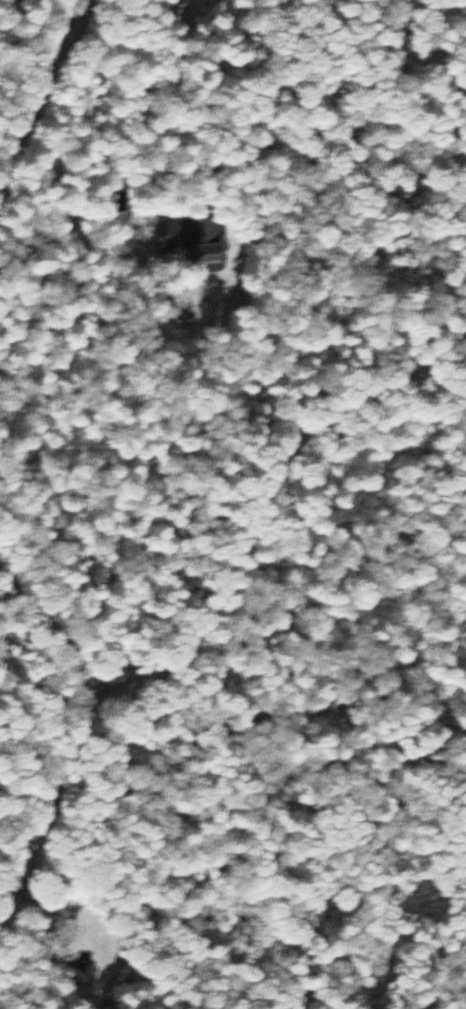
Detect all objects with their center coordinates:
road: (47, 103)
building: (193, 239)
road: (37, 652)

